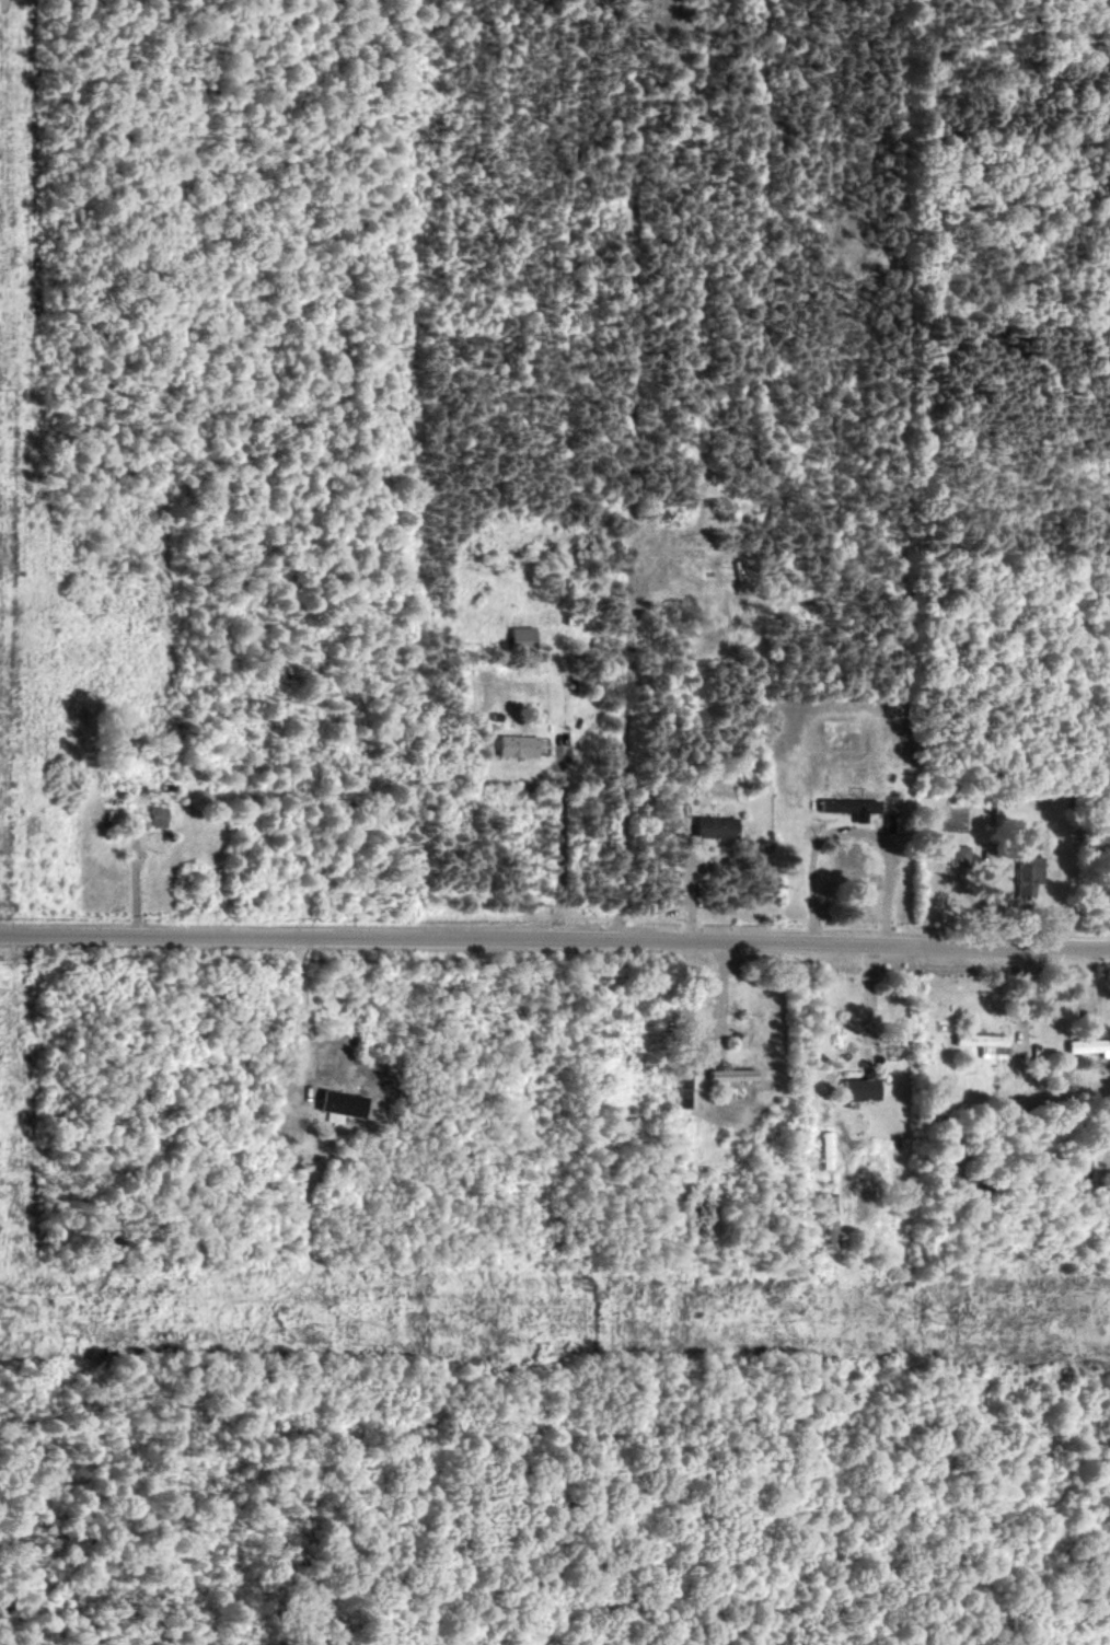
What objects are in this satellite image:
building: (522, 637)
building: (517, 745)
road: (623, 760)
building: (851, 806)
building: (157, 815)
building: (895, 823)
building: (716, 826)
road: (856, 835)
road: (560, 855)
building: (959, 855)
building: (1029, 873)
road: (555, 939)
road: (876, 1017)
building: (985, 1043)
building: (1090, 1045)
building: (732, 1073)
building: (862, 1087)
building: (342, 1104)
building: (828, 1149)
building: (830, 1219)
power tower: (11, 1312)
power tower: (482, 1314)
power tower: (940, 1318)

